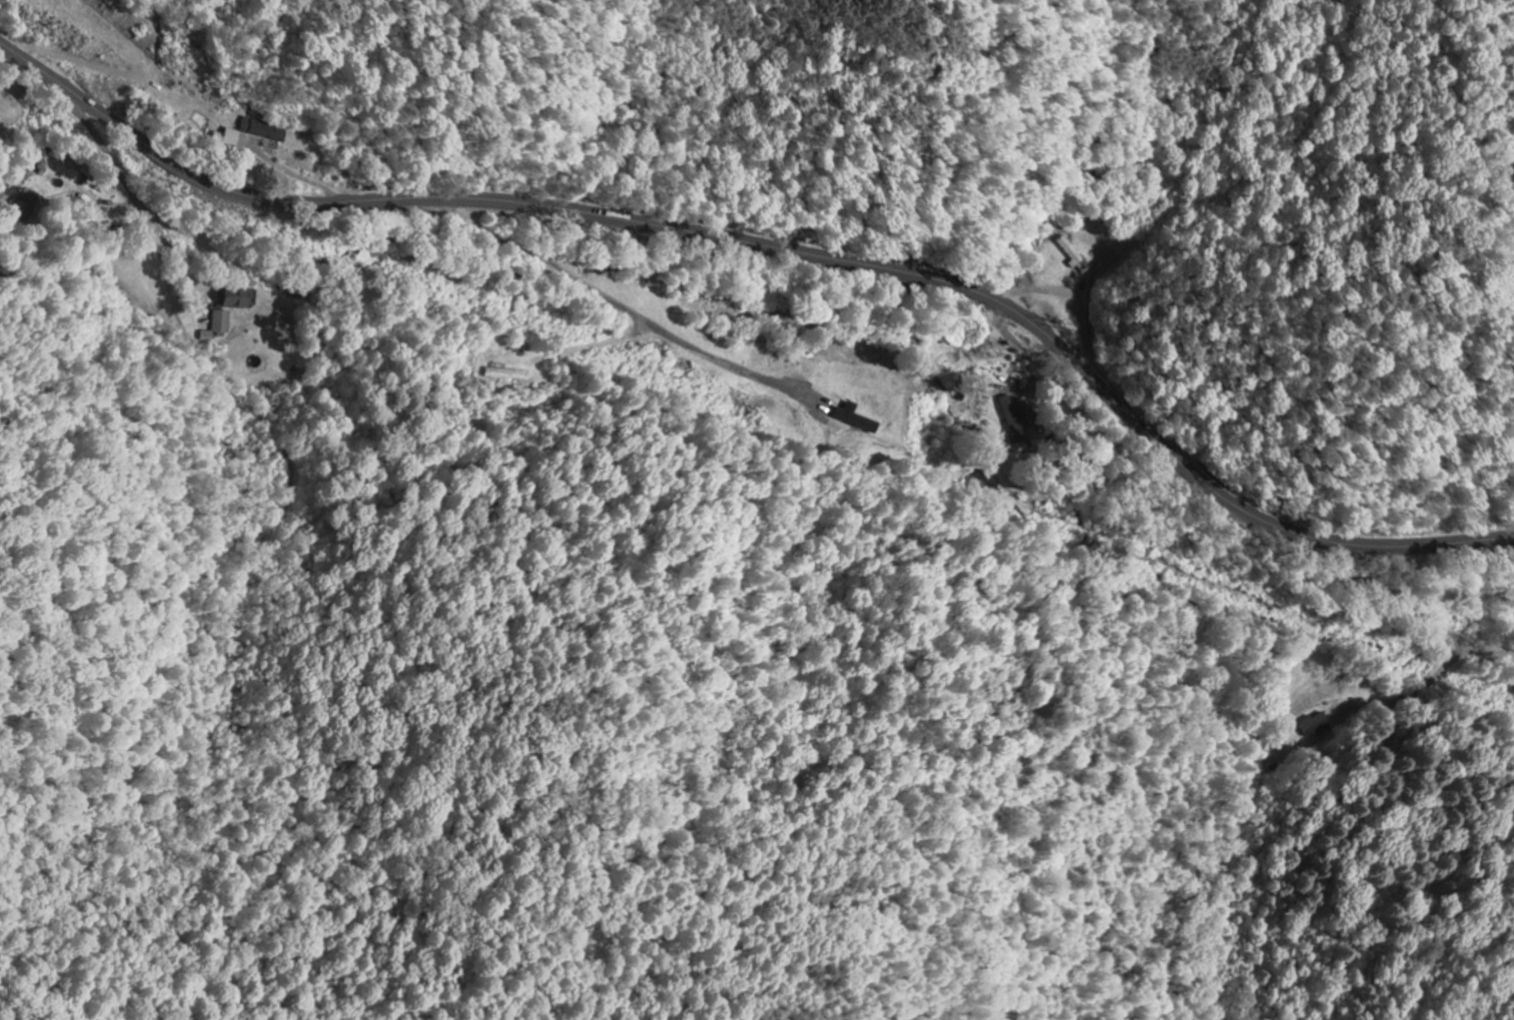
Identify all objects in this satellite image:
building: (264, 131)
building: (227, 139)
road: (777, 248)
building: (235, 299)
building: (219, 326)
building: (508, 375)
building: (1014, 419)
building: (856, 420)
road: (1369, 615)

